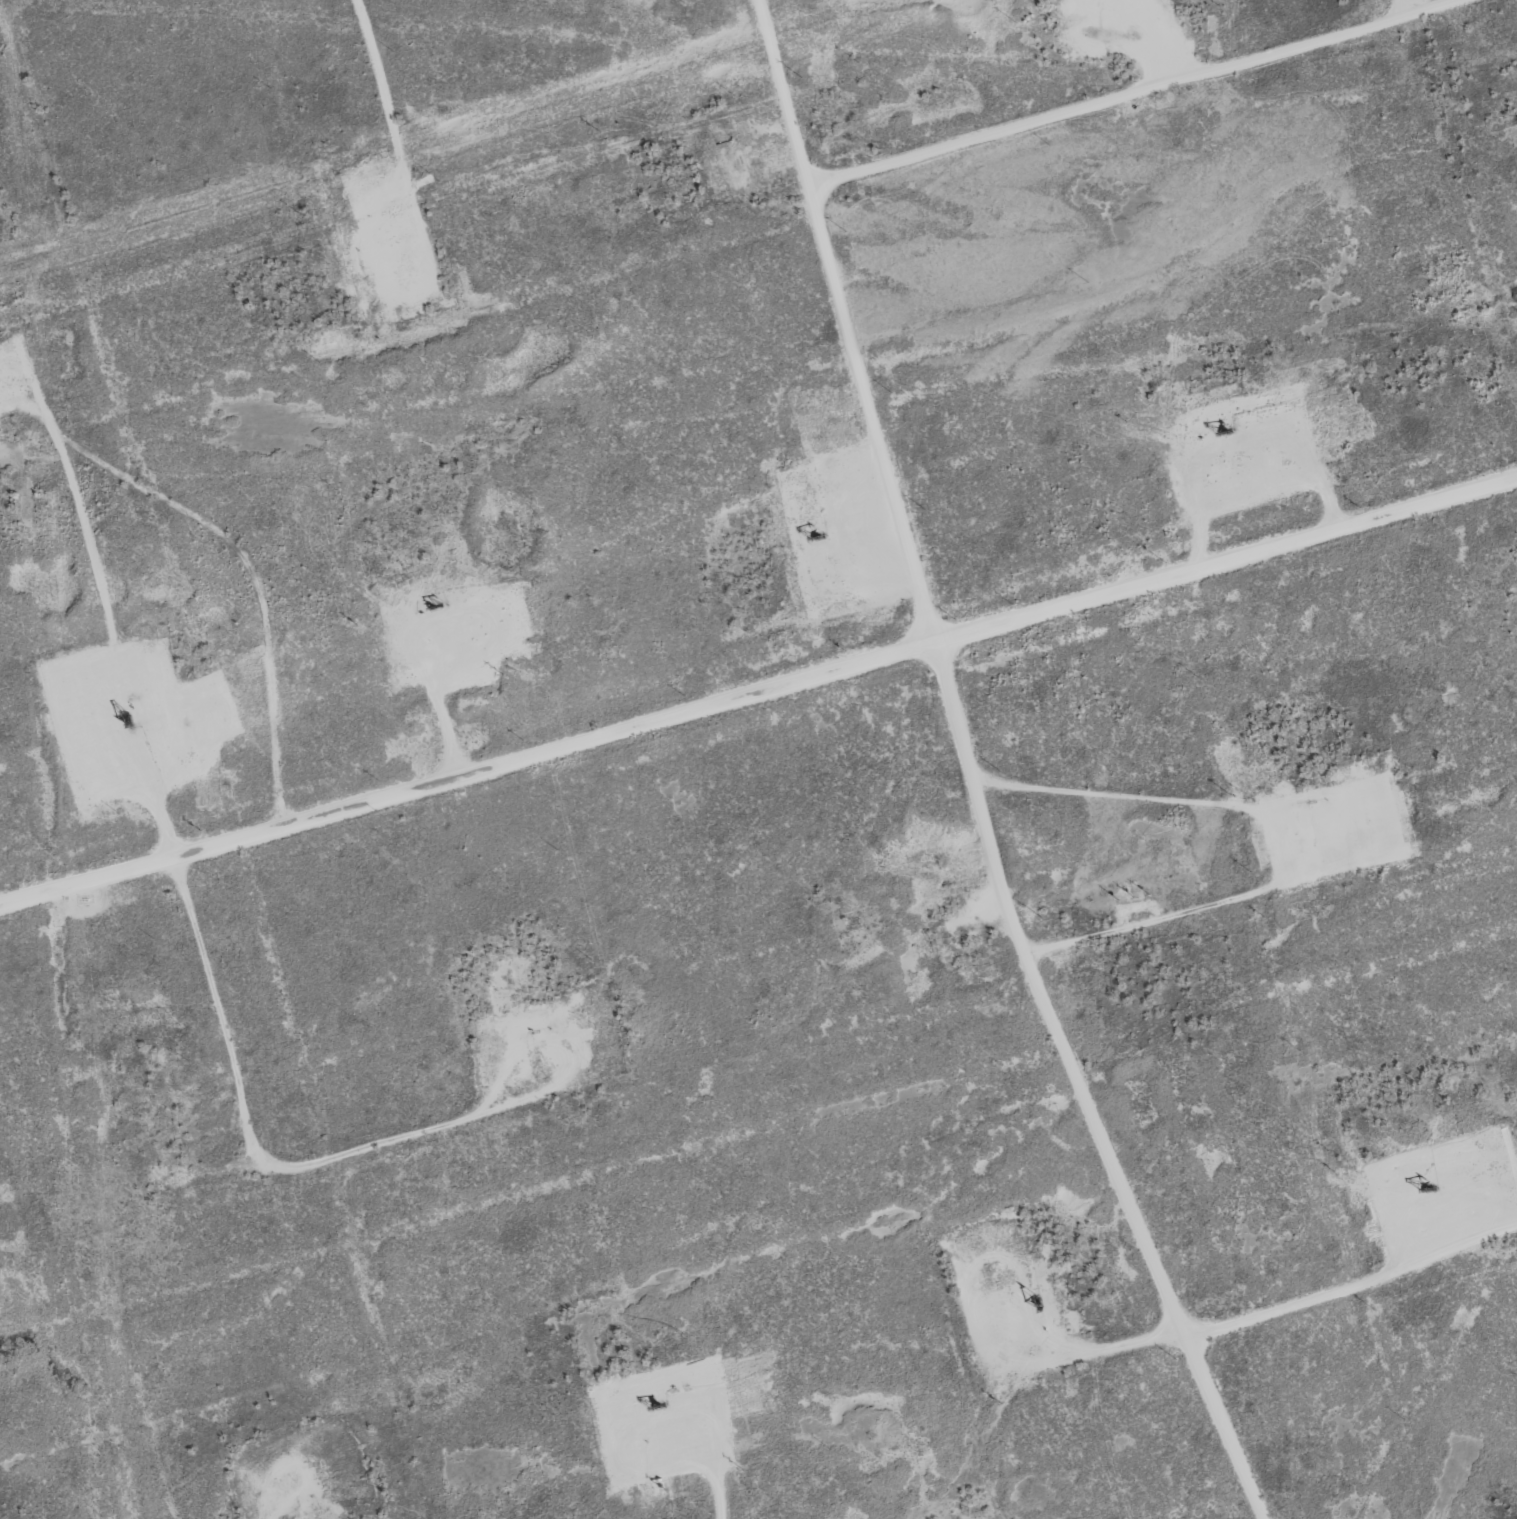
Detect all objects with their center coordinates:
road: (1137, 93)
petroleum well: (1229, 430)
petroleum well: (815, 542)
petroleum well: (439, 607)
road: (757, 688)
petroleum well: (111, 717)
road: (971, 773)
petroleum well: (1421, 1193)
petroleum well: (660, 1400)

